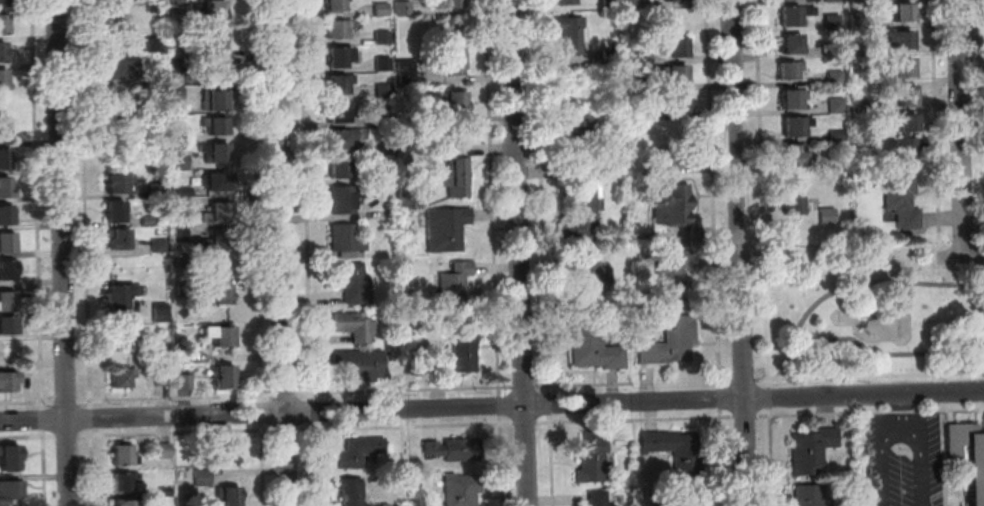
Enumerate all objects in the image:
building: (676, 0)
building: (787, 0)
building: (832, 1)
building: (855, 1)
building: (115, 2)
building: (565, 3)
building: (3, 4)
building: (177, 4)
building: (452, 4)
building: (610, 4)
building: (629, 5)
building: (337, 6)
building: (155, 9)
building: (404, 9)
building: (216, 11)
building: (383, 11)
building: (901, 13)
building: (795, 17)
building: (116, 22)
building: (857, 22)
building: (832, 23)
building: (4, 26)
building: (340, 31)
building: (572, 35)
building: (383, 39)
building: (899, 41)
building: (216, 43)
building: (616, 45)
building: (155, 46)
building: (792, 46)
building: (675, 48)
building: (857, 50)
building: (834, 51)
building: (177, 53)
building: (3, 54)
building: (610, 57)
road: (981, 57)
building: (342, 59)
building: (643, 59)
building: (450, 63)
building: (384, 65)
building: (178, 67)
building: (122, 69)
building: (901, 69)
building: (407, 73)
building: (790, 73)
building: (216, 75)
building: (675, 77)
building: (859, 77)
building: (155, 78)
building: (835, 79)
building: (5, 81)
building: (341, 86)
building: (649, 86)
building: (385, 92)
building: (178, 94)
building: (567, 94)
building: (629, 98)
building: (907, 98)
building: (793, 101)
building: (216, 102)
building: (111, 103)
building: (674, 103)
building: (457, 105)
building: (836, 107)
building: (858, 107)
building: (640, 113)
building: (341, 114)
building: (386, 119)
building: (421, 119)
road: (934, 120)
building: (217, 127)
building: (796, 128)
road: (960, 128)
building: (5, 134)
building: (180, 135)
building: (577, 135)
building: (904, 137)
building: (836, 138)
building: (342, 141)
building: (388, 150)
building: (216, 154)
building: (795, 157)
building: (680, 158)
building: (5, 160)
building: (182, 162)
building: (342, 170)
building: (658, 170)
building: (455, 172)
building: (388, 174)
building: (219, 183)
building: (120, 184)
building: (7, 189)
building: (158, 191)
road: (492, 193)
road: (713, 193)
road: (762, 193)
building: (185, 194)
road: (541, 196)
building: (345, 199)
road: (307, 200)
building: (901, 201)
road: (39, 204)
building: (583, 204)
building: (673, 205)
building: (181, 206)
building: (390, 206)
building: (793, 209)
building: (117, 213)
building: (220, 215)
building: (7, 217)
building: (827, 218)
building: (150, 221)
building: (447, 230)
building: (181, 234)
building: (347, 239)
building: (120, 240)
building: (219, 241)
building: (8, 244)
building: (159, 247)
road: (63, 253)
road: (283, 253)
road: (519, 253)
road: (740, 253)
road: (960, 256)
building: (183, 262)
building: (222, 268)
building: (7, 272)
building: (675, 276)
building: (352, 282)
building: (588, 282)
road: (908, 282)
building: (456, 286)
building: (185, 289)
building: (221, 296)
building: (122, 297)
building: (8, 302)
building: (161, 313)
road: (806, 313)
park: (861, 320)
building: (355, 327)
building: (8, 328)
building: (222, 337)
building: (124, 342)
building: (671, 344)
building: (593, 347)
road: (870, 352)
building: (186, 355)
building: (458, 355)
building: (162, 358)
building: (359, 367)
road: (869, 376)
building: (123, 378)
building: (163, 378)
building: (225, 378)
road: (727, 381)
road: (745, 381)
building: (8, 383)
building: (186, 383)
street lamp: (940, 383)
road: (583, 384)
street lamp: (859, 386)
road: (524, 387)
road: (405, 390)
road: (499, 391)
road: (614, 391)
road: (266, 395)
road: (286, 395)
road: (770, 398)
road: (173, 399)
road: (720, 399)
road: (68, 402)
road: (88, 402)
road: (28, 404)
road: (548, 404)
road: (500, 405)
road: (491, 406)
road: (311, 412)
road: (870, 412)
road: (263, 413)
road: (901, 413)
road: (745, 417)
road: (91, 418)
road: (43, 420)
road: (634, 420)
road: (524, 424)
road: (375, 427)
road: (287, 430)
road: (309, 430)
road: (902, 432)
road: (177, 433)
road: (68, 436)
road: (28, 437)
street lamp: (902, 450)
building: (454, 451)
building: (165, 452)
building: (675, 452)
building: (811, 452)
building: (222, 454)
building: (359, 454)
building: (124, 457)
road: (772, 457)
road: (722, 458)
building: (968, 458)
building: (10, 459)
road: (502, 460)
road: (551, 460)
building: (591, 460)
parking lot: (903, 461)
road: (264, 465)
road: (92, 467)
road: (43, 468)
building: (204, 479)
building: (126, 483)
street lamp: (903, 486)
building: (462, 490)
building: (10, 492)
building: (165, 492)
building: (352, 492)
building: (688, 496)
building: (810, 496)
building: (231, 498)
building: (596, 499)
building: (127, 503)
building: (385, 505)

